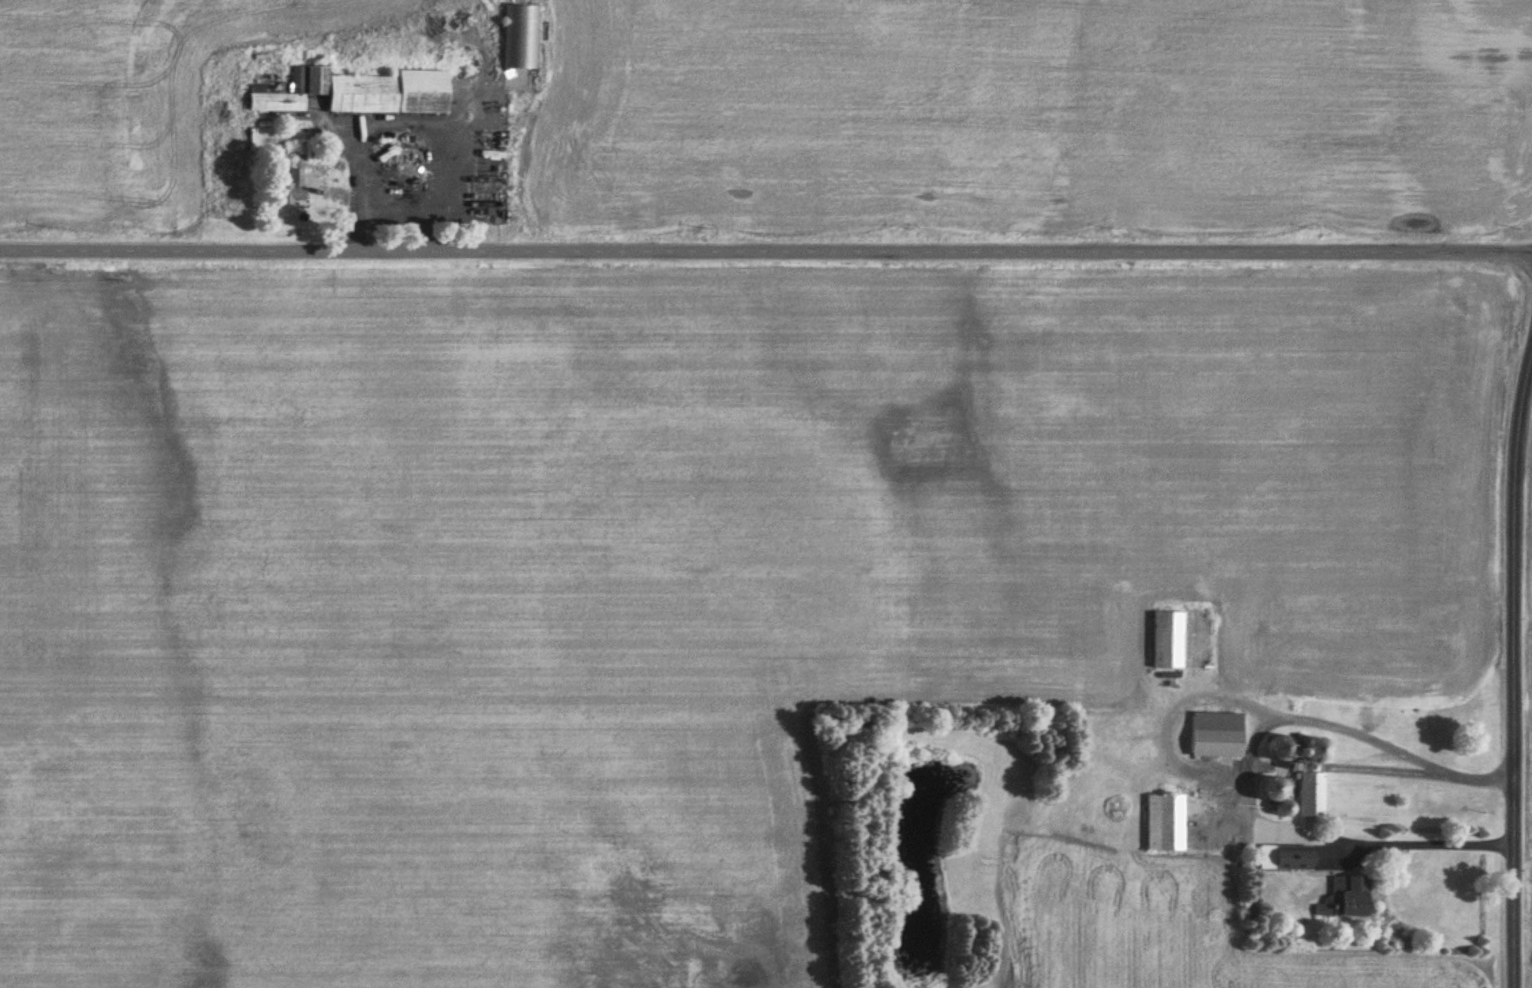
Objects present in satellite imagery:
building: (520, 44)
building: (315, 79)
building: (388, 92)
building: (279, 93)
road: (402, 124)
building: (288, 186)
road: (387, 210)
road: (765, 255)
building: (1166, 638)
road: (1517, 672)
building: (1215, 733)
building: (1303, 767)
road: (1240, 774)
building: (1311, 793)
building: (1164, 821)
building: (1284, 856)
building: (1344, 896)

